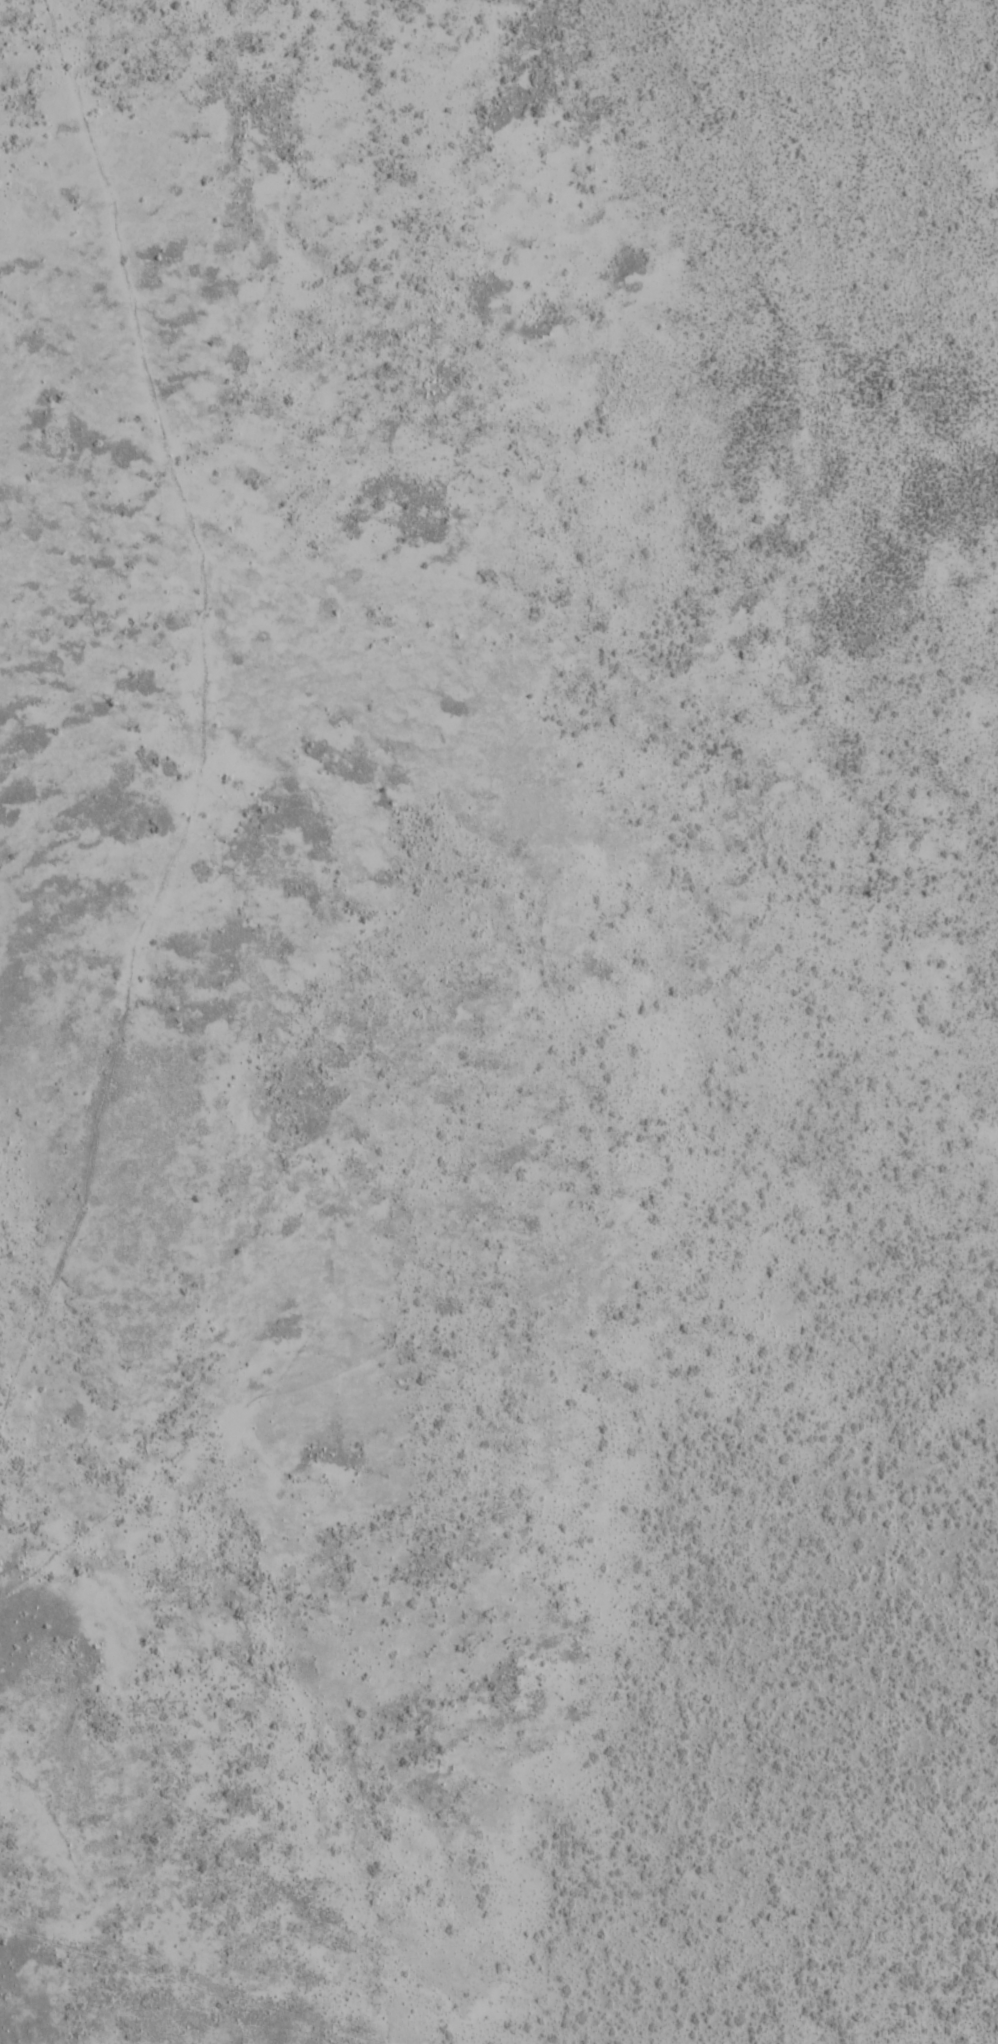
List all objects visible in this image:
road: (198, 1983)

